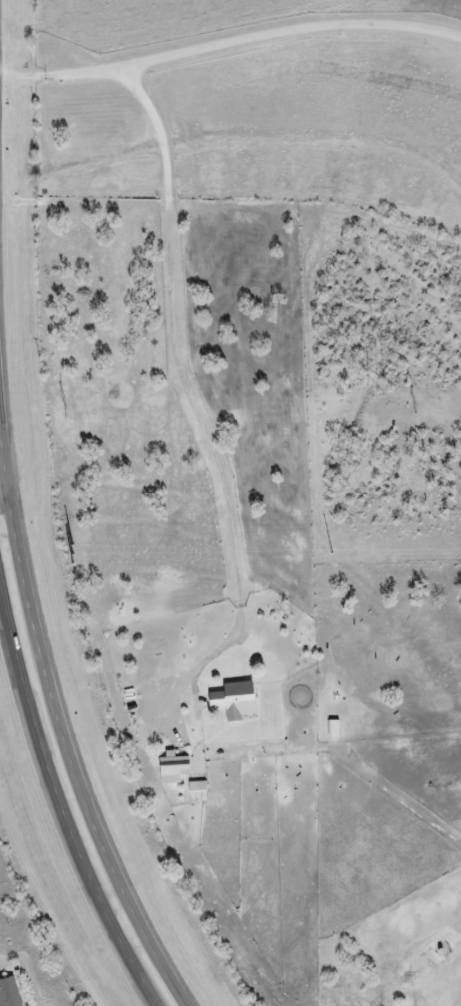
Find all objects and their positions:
road: (230, 42)
road: (195, 408)
power tower: (414, 411)
road: (4, 501)
power tower: (326, 554)
power tower: (66, 555)
building: (231, 701)
road: (60, 731)
road: (61, 808)
building: (8, 993)

